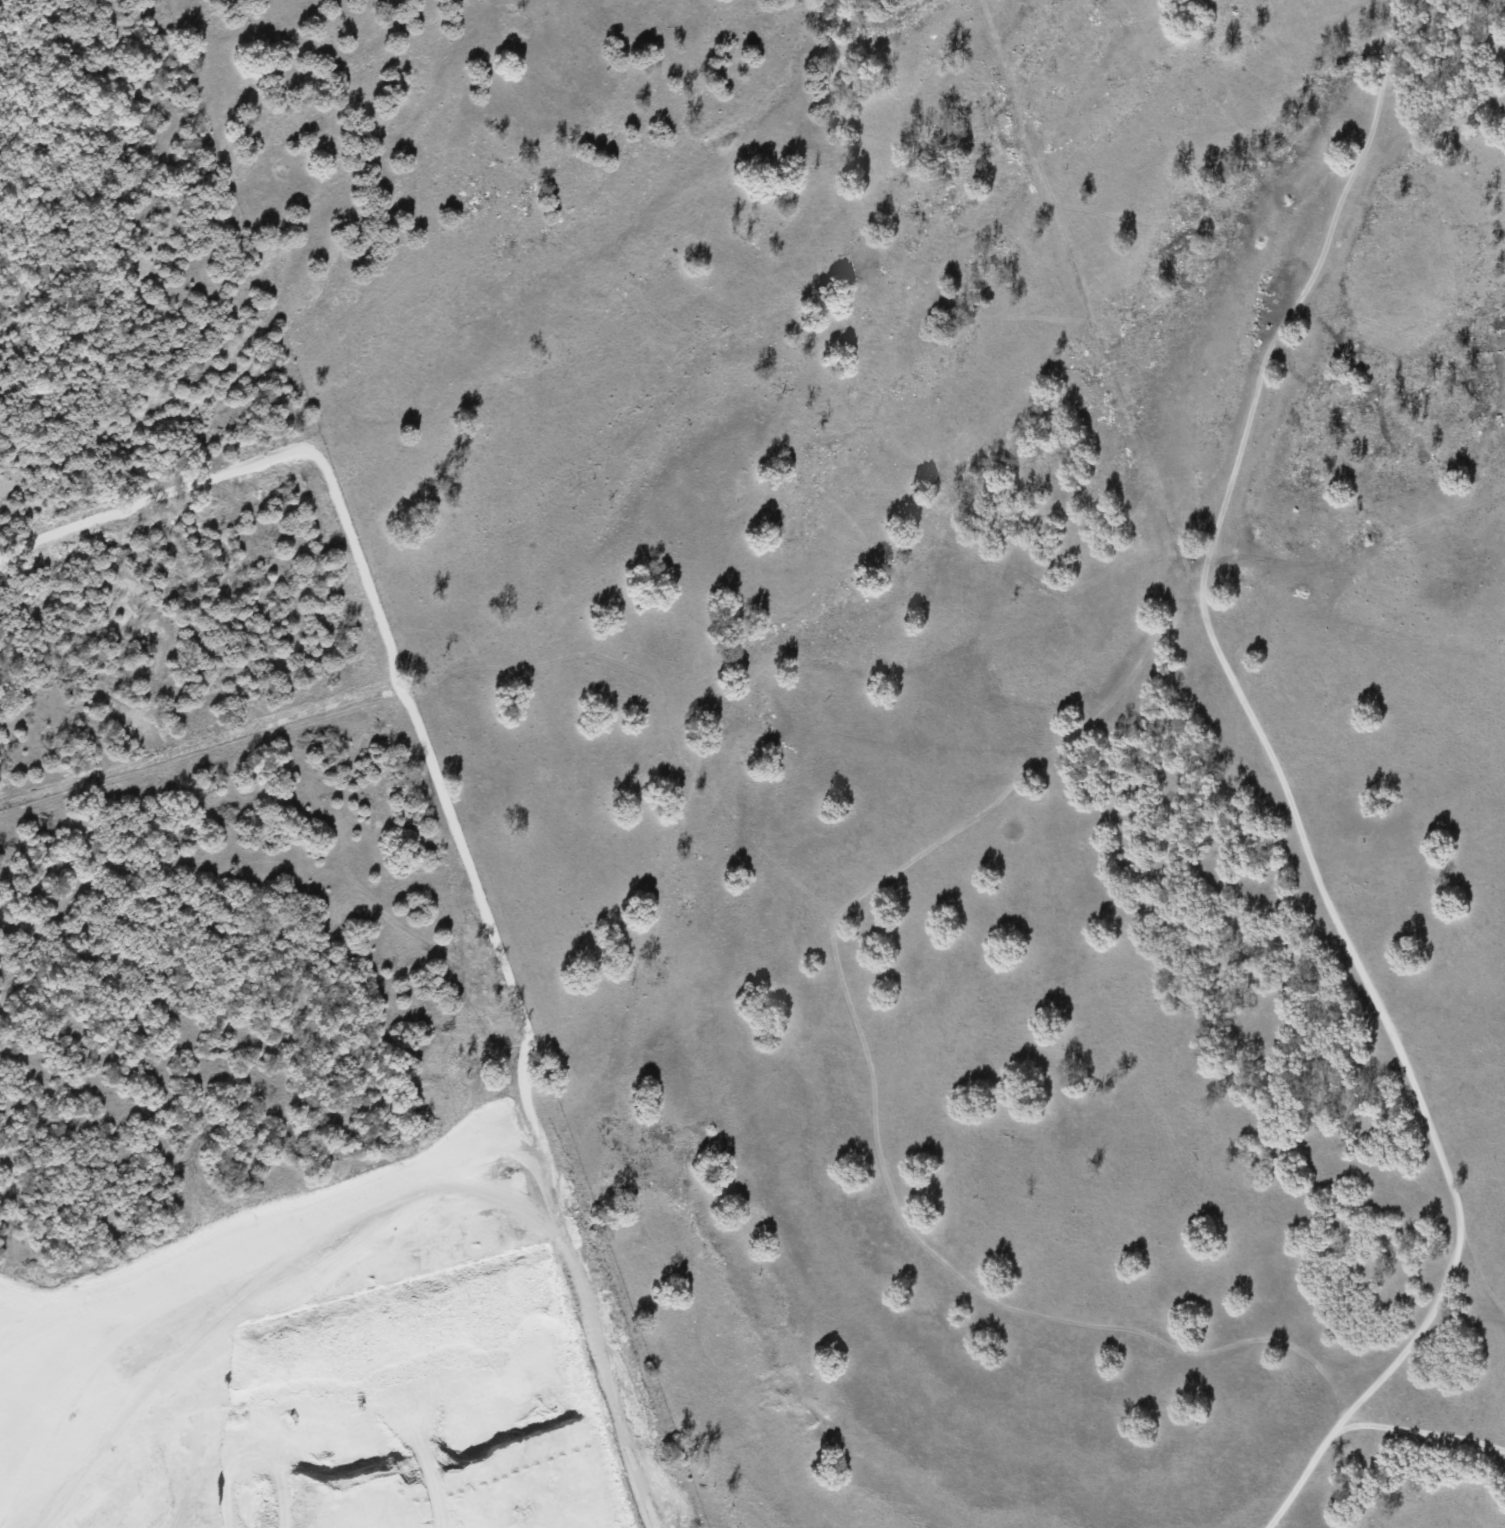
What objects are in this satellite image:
road: (1359, 1424)

